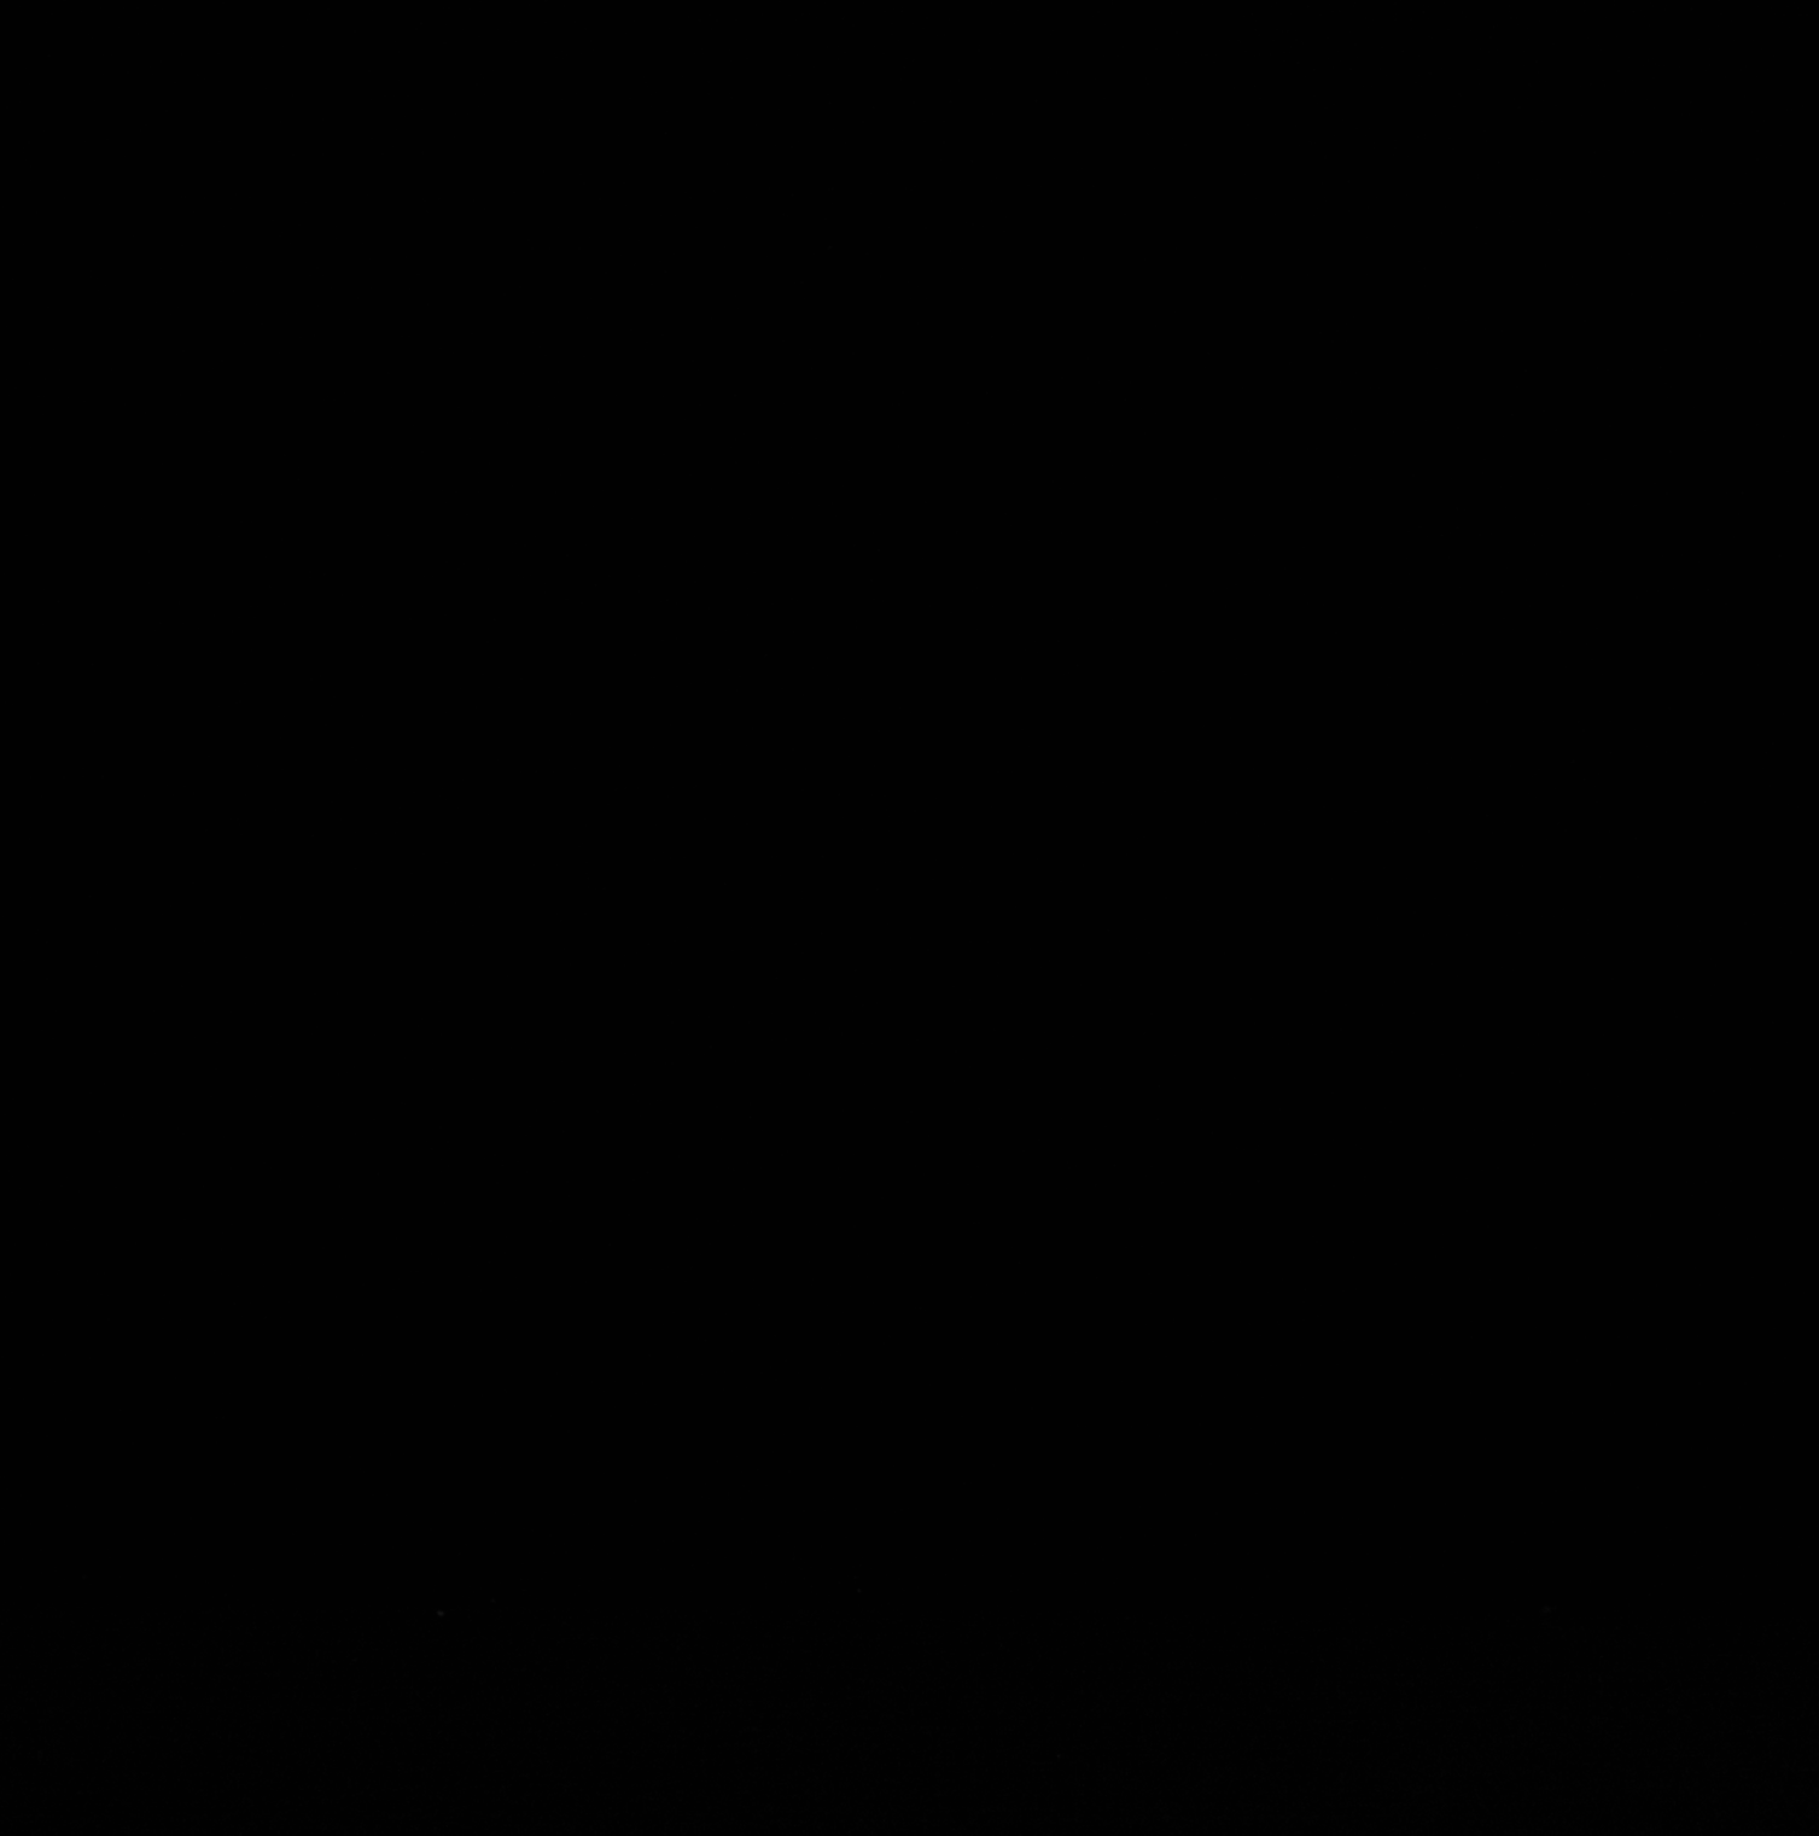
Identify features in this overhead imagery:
river: (909, 1490)
river: (1689, 1543)

